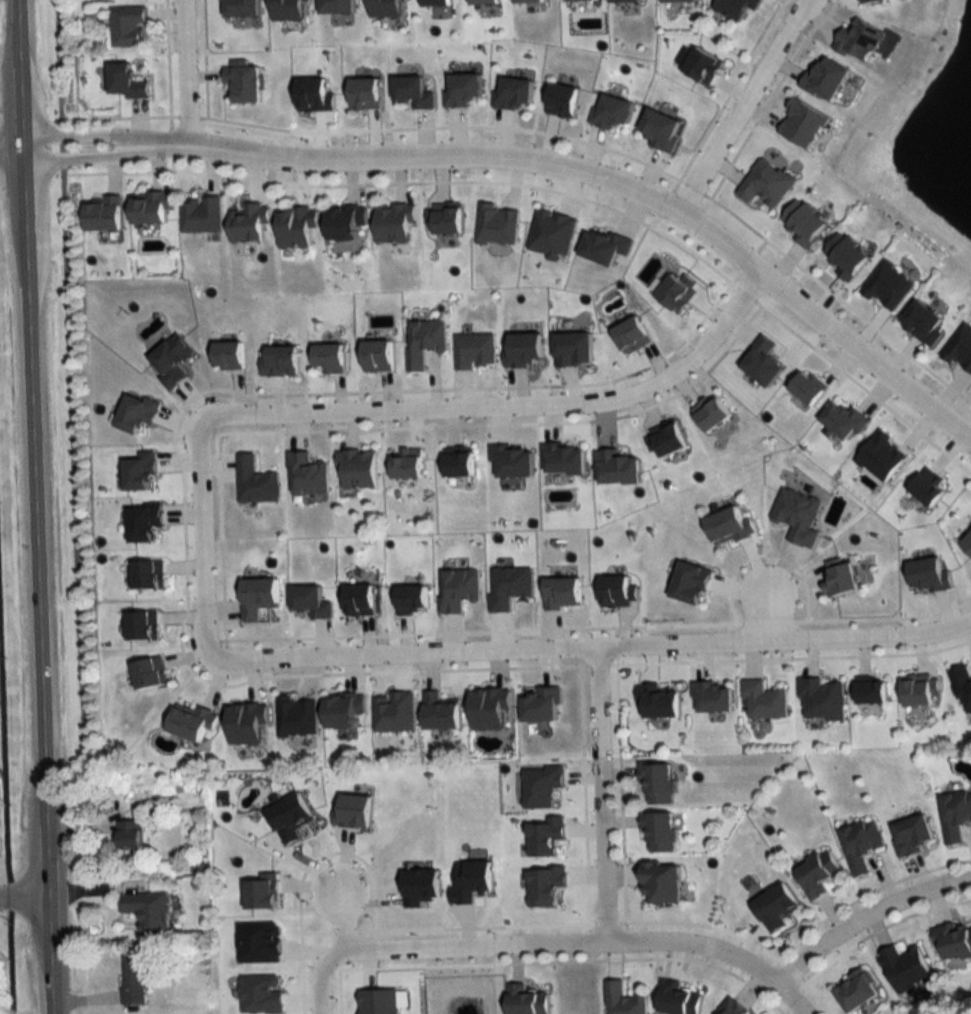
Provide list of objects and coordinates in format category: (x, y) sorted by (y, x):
building: (581, 0)
building: (484, 2)
building: (529, 2)
building: (436, 3)
building: (736, 8)
building: (127, 27)
building: (860, 40)
building: (703, 66)
road: (183, 74)
building: (364, 95)
building: (562, 101)
road: (743, 104)
building: (802, 123)
road: (123, 144)
road: (10, 146)
road: (589, 174)
building: (150, 208)
building: (201, 215)
building: (248, 223)
building: (805, 223)
building: (345, 224)
building: (394, 224)
building: (296, 227)
building: (847, 257)
building: (888, 286)
building: (923, 323)
building: (425, 341)
building: (959, 348)
building: (475, 351)
building: (228, 356)
building: (378, 356)
building: (330, 358)
building: (280, 361)
road: (508, 405)
building: (710, 413)
building: (667, 441)
building: (564, 459)
building: (459, 465)
building: (407, 468)
building: (358, 469)
building: (307, 475)
road: (35, 506)
building: (730, 528)
road: (201, 538)
building: (968, 545)
building: (841, 579)
building: (458, 590)
building: (618, 592)
building: (258, 597)
building: (360, 600)
road: (768, 616)
road: (591, 653)
building: (921, 692)
building: (872, 694)
building: (764, 701)
building: (660, 702)
building: (343, 712)
building: (297, 717)
building: (657, 783)
road: (8, 789)
road: (603, 798)
building: (956, 814)
building: (659, 830)
building: (130, 834)
building: (914, 834)
building: (545, 835)
building: (861, 844)
building: (817, 872)
building: (661, 881)
road: (25, 893)
building: (776, 906)
building: (148, 911)
road: (871, 918)
road: (342, 921)
building: (955, 940)
road: (583, 944)
building: (906, 967)
road: (319, 979)
building: (133, 980)
building: (857, 992)
building: (678, 998)
building: (527, 1000)
building: (623, 1000)
building: (734, 1008)
road: (15, 1009)

